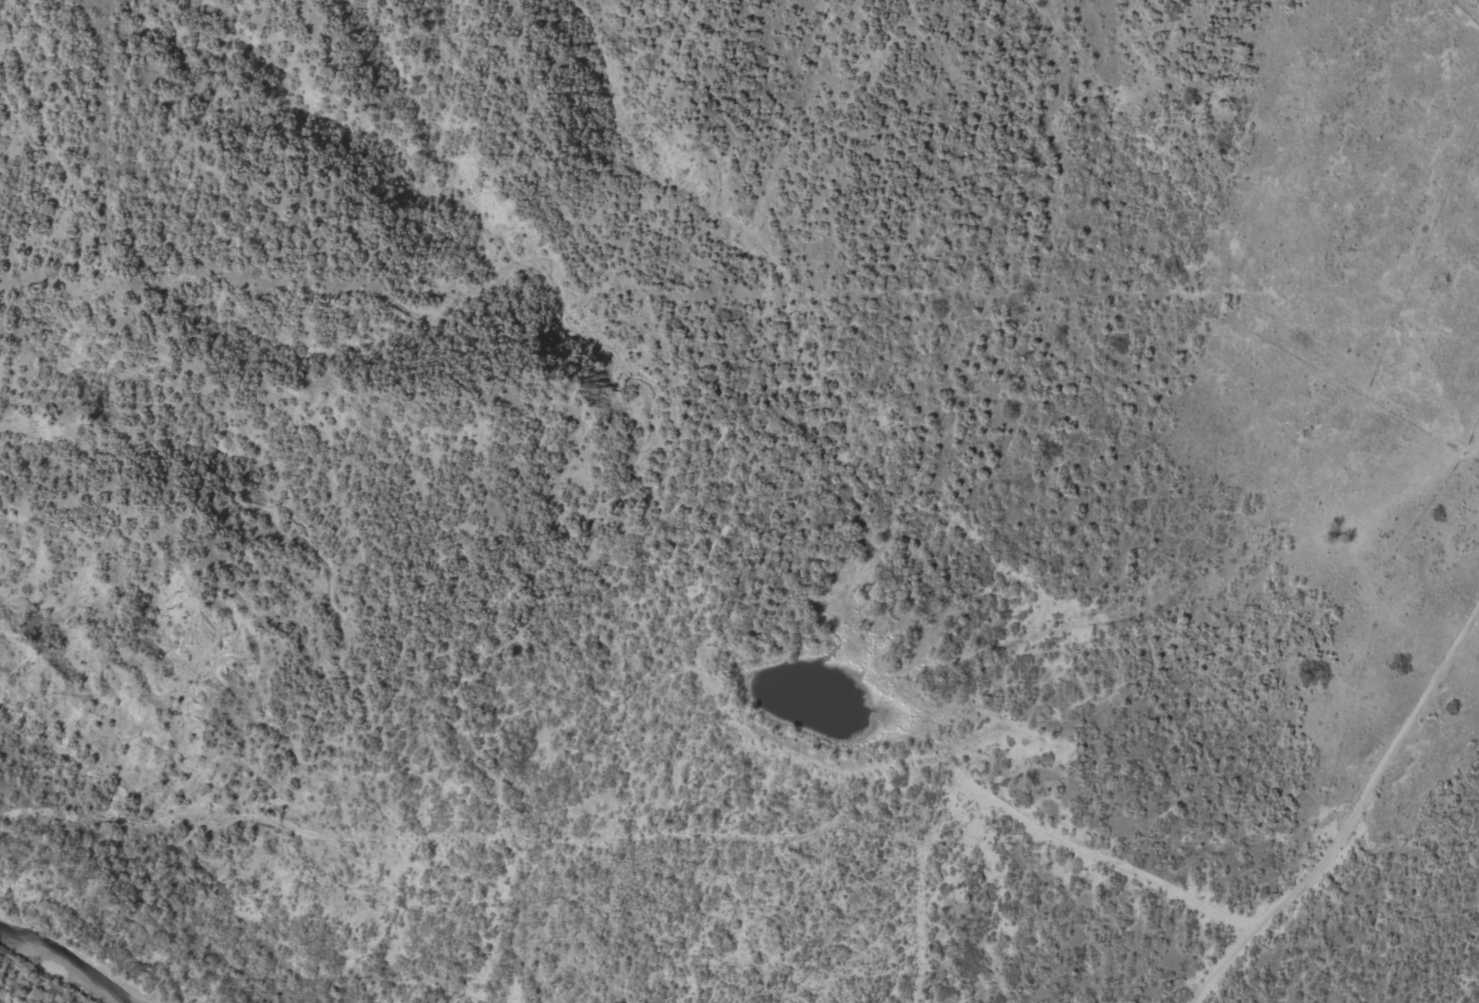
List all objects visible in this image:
road: (1349, 803)
river: (68, 964)

